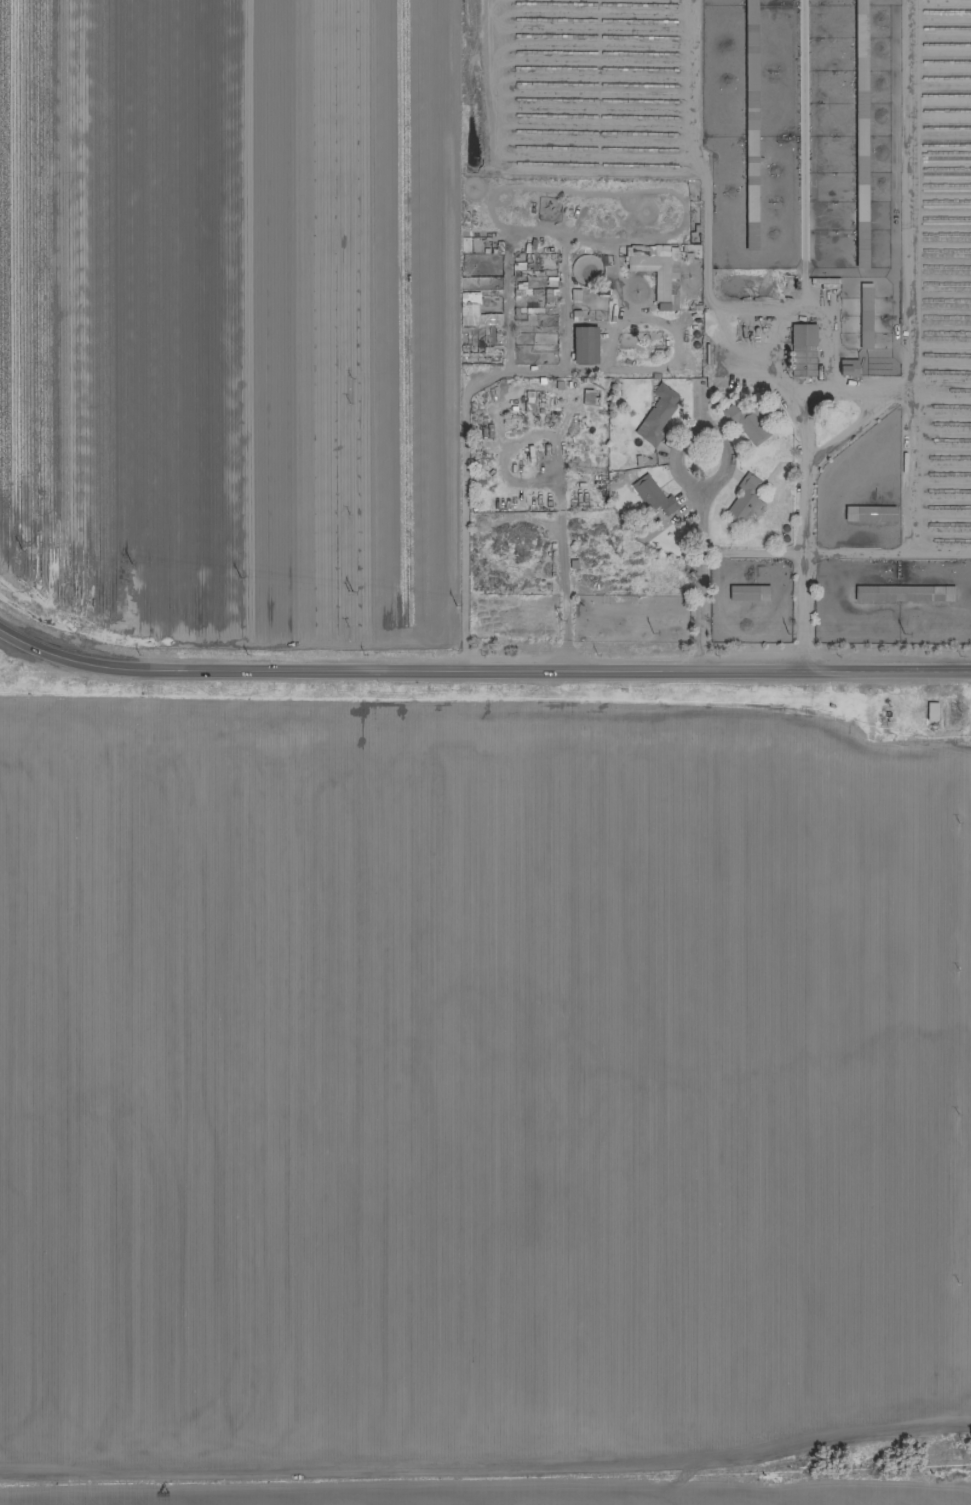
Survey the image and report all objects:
building: (749, 125)
building: (859, 133)
building: (657, 272)
building: (863, 315)
building: (584, 344)
building: (801, 349)
building: (846, 366)
road: (649, 367)
road: (794, 385)
building: (655, 414)
building: (748, 422)
road: (806, 425)
building: (651, 494)
building: (744, 499)
road: (464, 523)
road: (804, 553)
building: (742, 592)
road: (481, 677)
building: (930, 711)
crop: (484, 1094)

